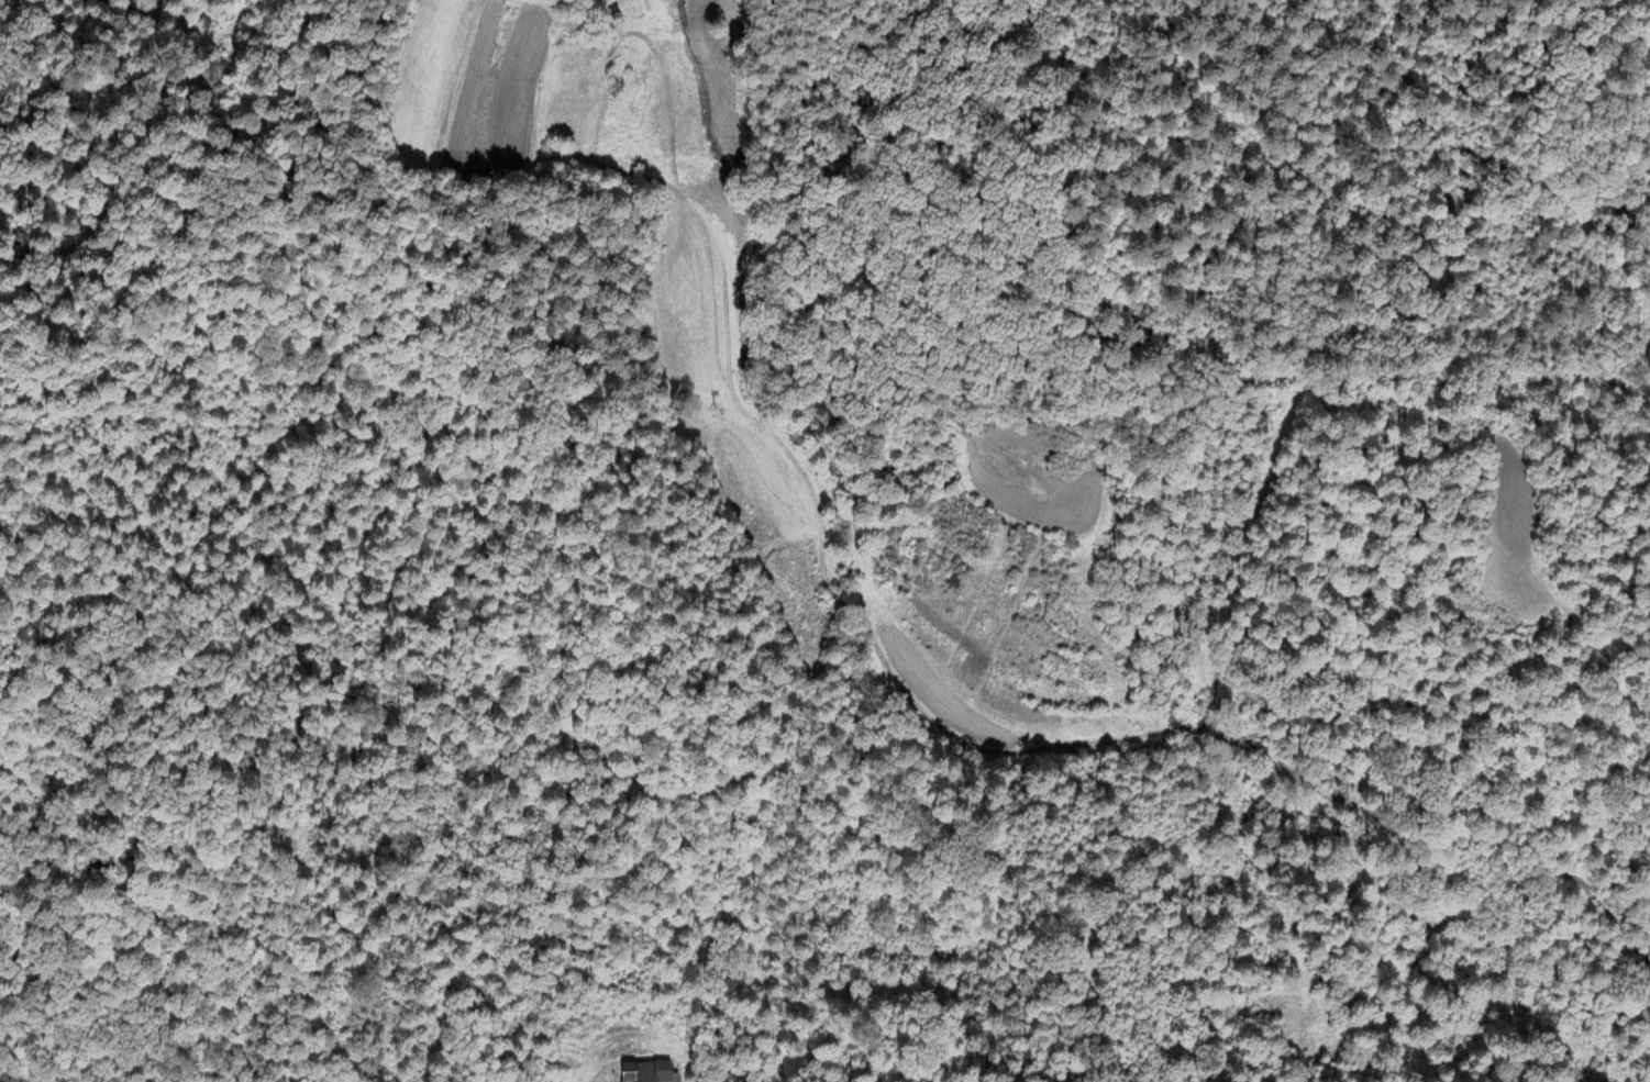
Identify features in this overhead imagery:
building: (712, 9)
building: (647, 1073)

